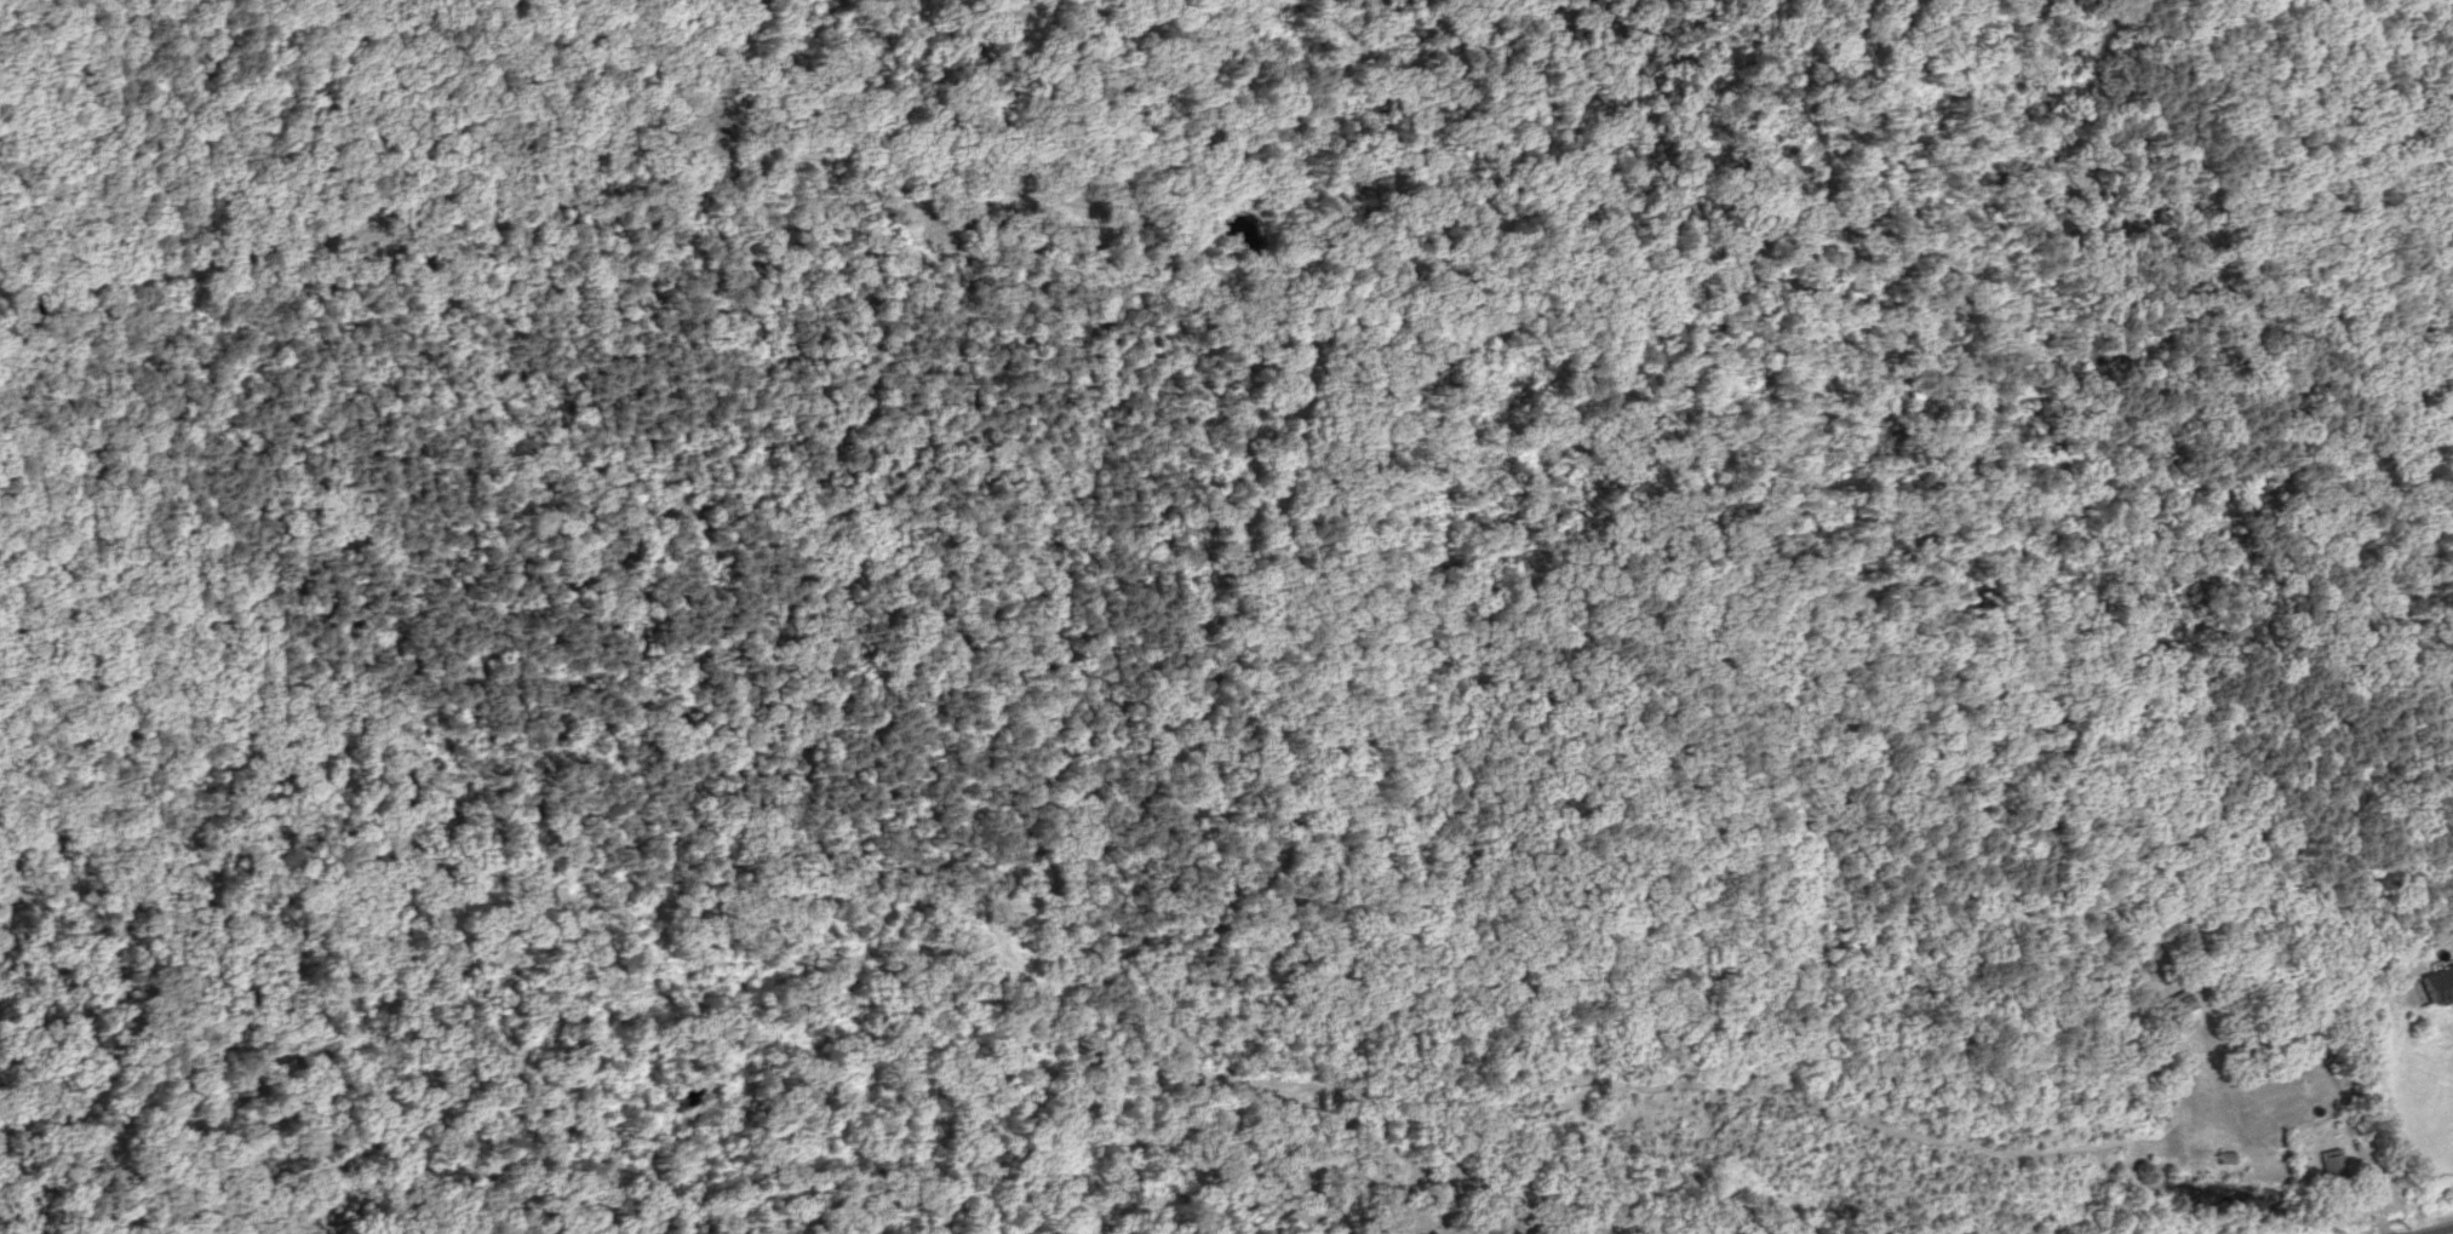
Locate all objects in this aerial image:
building: (2441, 985)
building: (2180, 1009)
building: (2228, 1159)
building: (2333, 1165)

